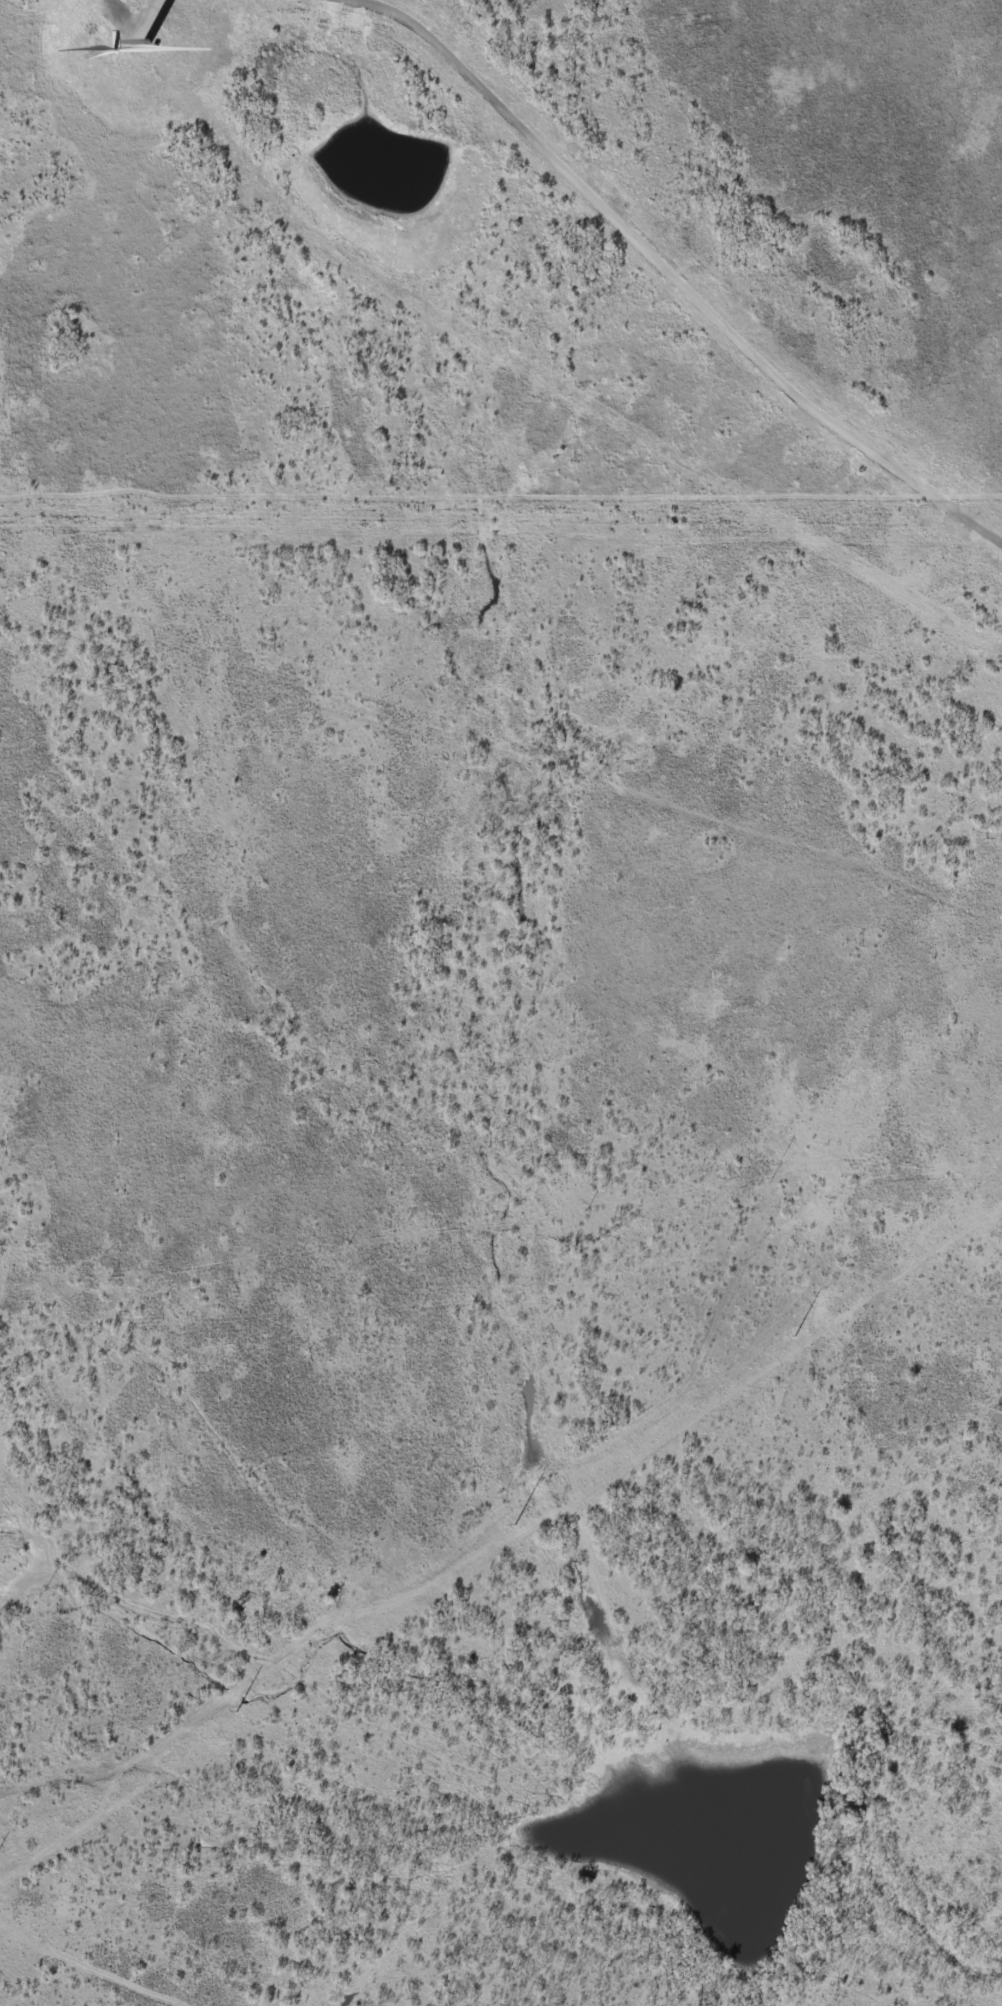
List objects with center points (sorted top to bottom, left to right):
wind turbine: (144, 34)
road: (672, 271)
road: (474, 1553)

